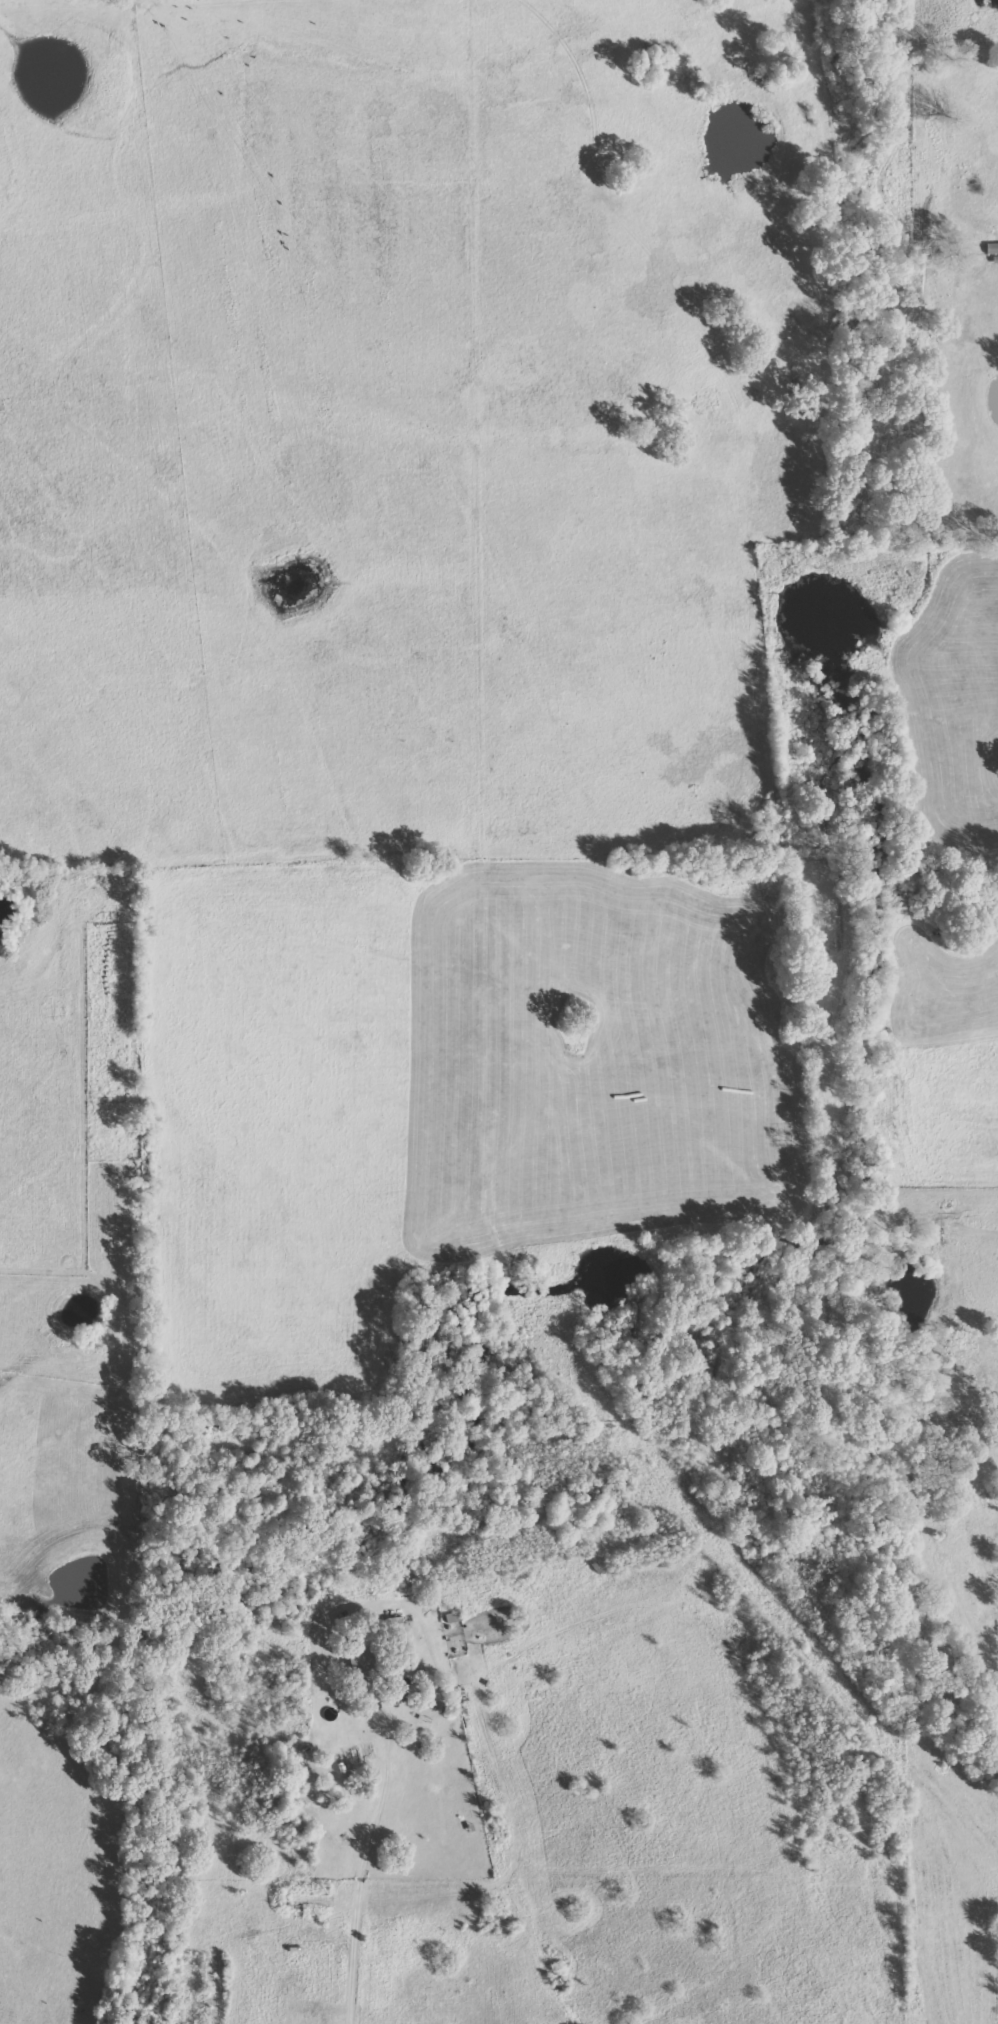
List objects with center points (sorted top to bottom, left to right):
building: (370, 1667)

